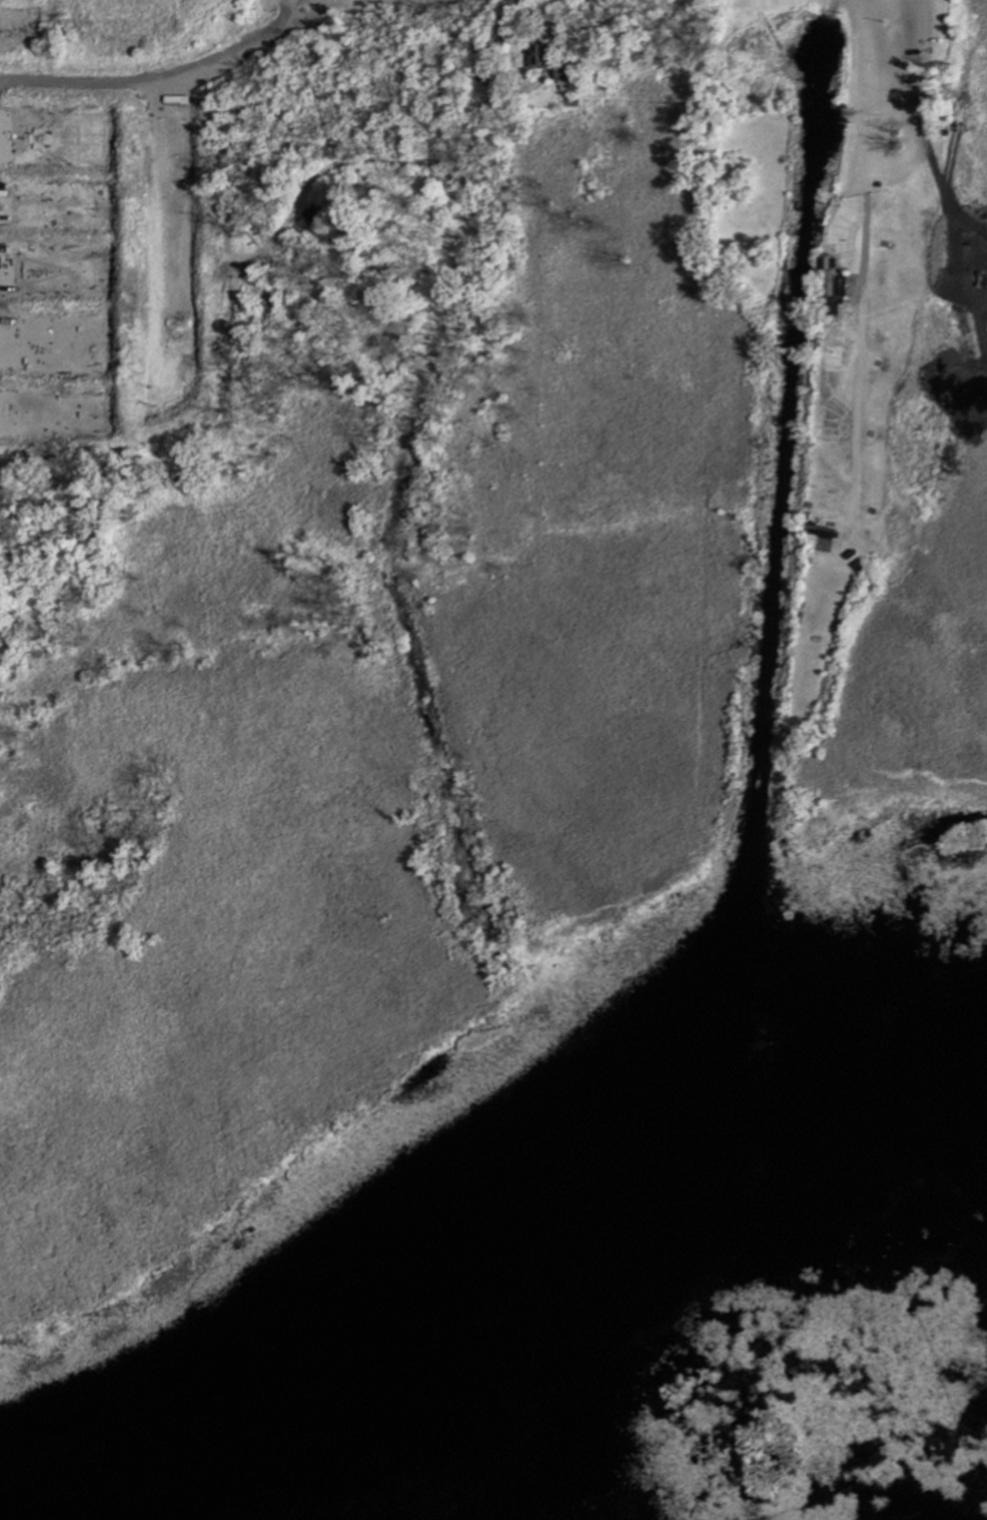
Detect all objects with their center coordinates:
road: (351, 16)
building: (539, 55)
building: (562, 73)
road: (150, 79)
road: (864, 96)
building: (310, 216)
building: (830, 279)
road: (855, 349)
building: (820, 536)

